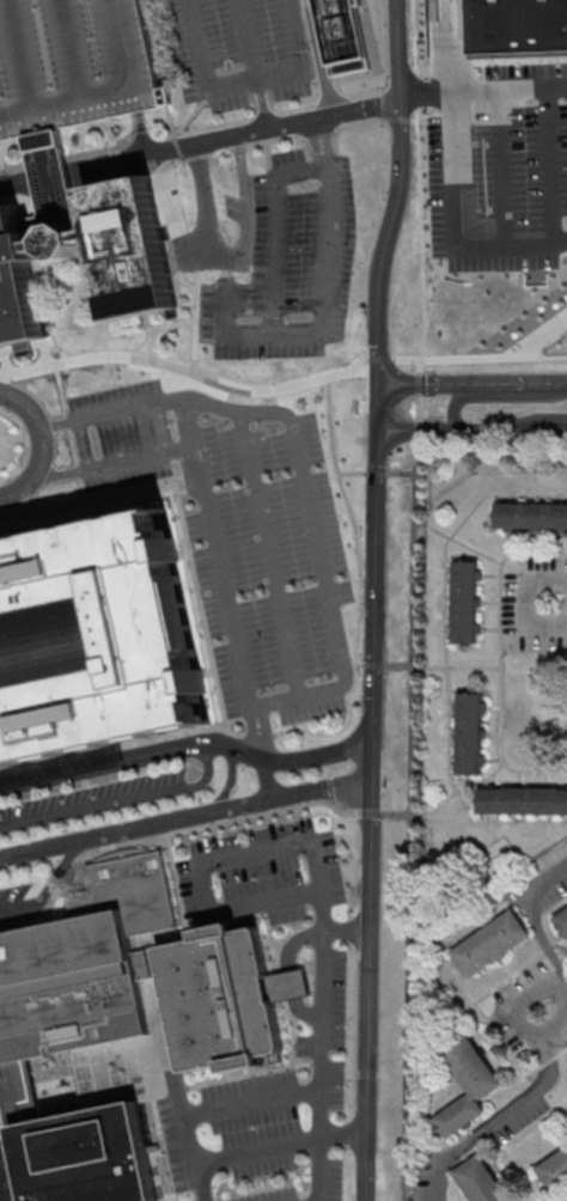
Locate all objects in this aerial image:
building: (520, 24)
building: (348, 36)
parking lot: (242, 51)
road: (319, 57)
building: (74, 63)
parking lot: (74, 63)
road: (256, 65)
road: (248, 80)
road: (401, 86)
road: (484, 90)
road: (280, 111)
road: (195, 114)
road: (401, 118)
road: (172, 121)
road: (145, 133)
road: (301, 136)
road: (201, 144)
road: (177, 148)
road: (200, 157)
road: (553, 164)
road: (272, 165)
road: (505, 166)
parking lot: (501, 170)
building: (56, 178)
road: (134, 178)
road: (1, 181)
road: (420, 187)
road: (401, 193)
road: (42, 199)
street lamp: (385, 205)
parking lot: (237, 207)
road: (457, 222)
road: (177, 232)
road: (279, 232)
parking lot: (194, 249)
road: (561, 255)
road: (231, 260)
road: (208, 264)
parking lot: (292, 264)
road: (227, 269)
building: (144, 281)
road: (330, 295)
street lamp: (368, 313)
road: (197, 319)
road: (175, 324)
road: (152, 335)
road: (539, 336)
road: (47, 352)
road: (480, 356)
road: (379, 359)
road: (355, 361)
road: (29, 371)
road: (213, 378)
road: (416, 383)
road: (472, 383)
road: (498, 397)
road: (379, 408)
road: (416, 408)
street lamp: (358, 409)
road: (560, 425)
road: (415, 431)
road: (467, 431)
road: (72, 433)
road: (86, 444)
road: (43, 446)
street lamp: (68, 450)
road: (114, 463)
road: (305, 470)
road: (353, 474)
road: (376, 474)
road: (398, 474)
road: (134, 493)
road: (104, 510)
building: (529, 516)
road: (16, 529)
parking lot: (243, 534)
street lamp: (364, 539)
road: (458, 543)
road: (272, 554)
road: (376, 586)
road: (230, 599)
road: (528, 603)
road: (362, 604)
building: (463, 604)
road: (500, 604)
building: (93, 638)
road: (449, 660)
road: (360, 665)
road: (373, 665)
road: (443, 667)
street lamp: (364, 676)
road: (220, 694)
building: (469, 734)
road: (501, 742)
road: (122, 746)
road: (188, 748)
road: (374, 761)
road: (563, 770)
street lamp: (324, 773)
road: (231, 782)
street lamp: (239, 791)
road: (446, 798)
parking lot: (93, 799)
road: (121, 803)
building: (520, 803)
road: (367, 811)
road: (187, 819)
road: (408, 821)
road: (176, 833)
road: (61, 884)
road: (48, 888)
road: (322, 888)
parking lot: (14, 891)
road: (185, 914)
road: (531, 919)
building: (560, 923)
road: (22, 927)
building: (488, 945)
road: (292, 949)
building: (86, 962)
building: (292, 986)
road: (371, 990)
building: (221, 998)
road: (555, 1004)
road: (490, 1024)
road: (323, 1044)
building: (463, 1081)
road: (548, 1091)
road: (211, 1112)
road: (508, 1114)
building: (17, 1122)
road: (345, 1134)
road: (262, 1152)
building: (92, 1157)
road: (528, 1166)
road: (5, 1168)
building: (556, 1172)
building: (8, 1177)
building: (476, 1182)
road: (559, 1195)

